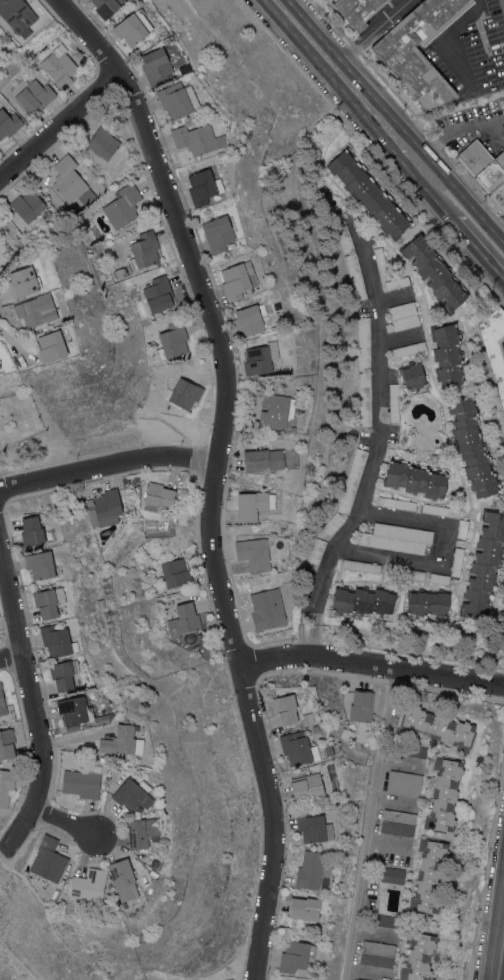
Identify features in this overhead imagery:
road: (503, 1)
building: (105, 7)
building: (358, 11)
building: (17, 15)
building: (132, 27)
road: (373, 30)
road: (441, 41)
building: (58, 66)
building: (155, 66)
building: (413, 70)
building: (32, 94)
building: (177, 99)
road: (355, 107)
road: (59, 120)
road: (395, 121)
building: (8, 123)
road: (461, 130)
building: (197, 139)
building: (103, 142)
building: (483, 165)
building: (68, 178)
building: (203, 186)
building: (368, 194)
building: (498, 197)
building: (27, 205)
building: (122, 206)
building: (47, 213)
building: (217, 233)
building: (344, 239)
road: (477, 240)
building: (144, 249)
building: (380, 261)
building: (119, 271)
building: (434, 272)
building: (355, 276)
building: (238, 280)
building: (23, 282)
building: (397, 283)
building: (158, 294)
road: (392, 296)
building: (36, 310)
building: (403, 315)
building: (249, 320)
building: (273, 328)
road: (396, 337)
building: (172, 340)
building: (363, 343)
building: (51, 346)
building: (494, 348)
building: (408, 349)
building: (447, 354)
building: (259, 358)
building: (412, 375)
building: (184, 394)
building: (364, 398)
building: (393, 402)
building: (272, 407)
building: (292, 429)
road: (377, 430)
building: (471, 445)
building: (263, 460)
road: (107, 464)
road: (214, 473)
building: (415, 479)
building: (352, 481)
building: (135, 490)
building: (157, 496)
building: (396, 503)
building: (253, 504)
building: (107, 506)
building: (440, 510)
building: (170, 514)
building: (95, 518)
building: (331, 525)
building: (461, 528)
building: (34, 532)
building: (396, 538)
building: (316, 551)
road: (442, 552)
building: (254, 553)
building: (456, 561)
building: (39, 564)
building: (484, 565)
building: (361, 566)
building: (175, 573)
building: (405, 573)
building: (438, 578)
building: (363, 600)
building: (48, 601)
building: (427, 602)
building: (265, 611)
building: (183, 619)
road: (306, 639)
building: (57, 640)
road: (10, 653)
road: (371, 663)
building: (63, 674)
building: (2, 702)
building: (361, 705)
road: (32, 706)
building: (284, 708)
building: (75, 710)
building: (307, 717)
building: (101, 719)
building: (71, 727)
building: (439, 727)
building: (122, 740)
building: (6, 743)
building: (334, 747)
building: (297, 748)
building: (408, 750)
building: (82, 781)
building: (403, 783)
building: (6, 785)
building: (306, 785)
building: (130, 793)
building: (443, 794)
building: (397, 822)
road: (72, 823)
road: (370, 823)
building: (313, 826)
building: (141, 832)
building: (48, 860)
building: (312, 871)
building: (393, 875)
building: (428, 876)
building: (122, 878)
building: (88, 887)
building: (60, 902)
building: (306, 908)
building: (381, 920)
road: (372, 933)
building: (377, 954)
building: (417, 955)
building: (294, 956)
road: (501, 964)
road: (367, 971)
building: (358, 979)

